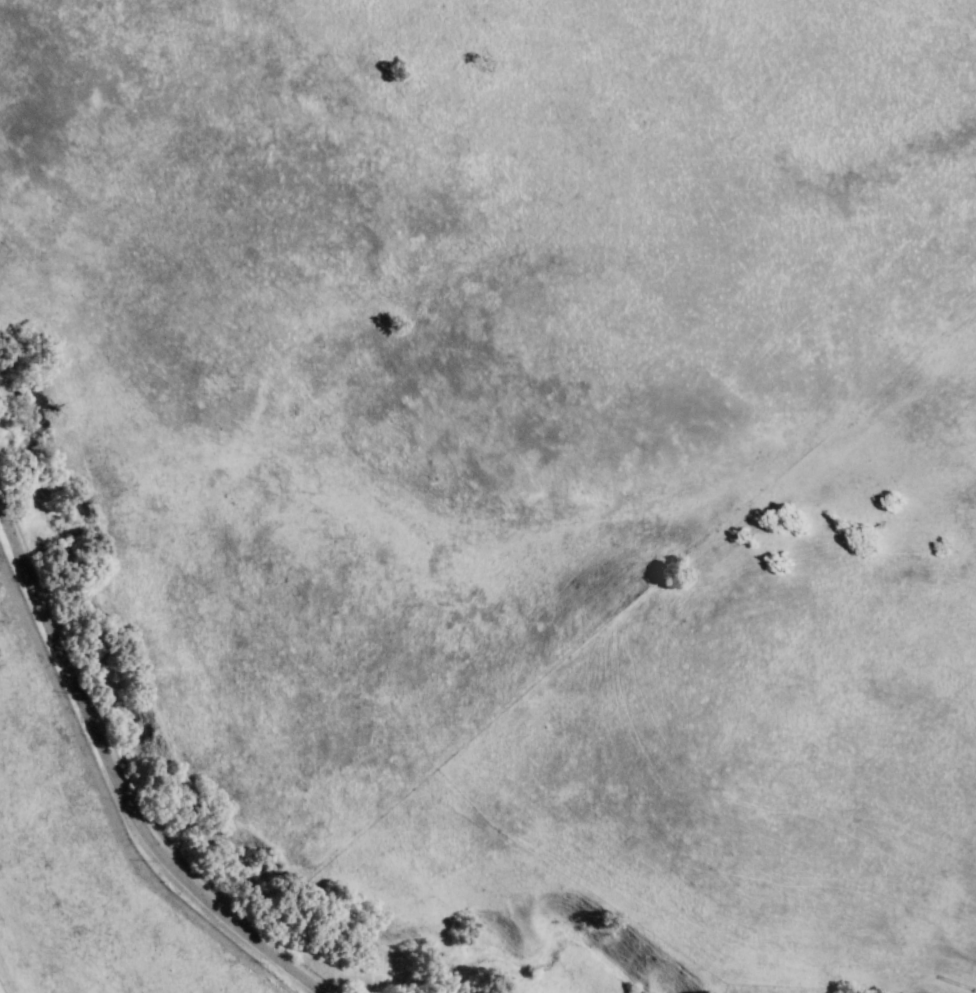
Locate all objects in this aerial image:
road: (114, 809)

